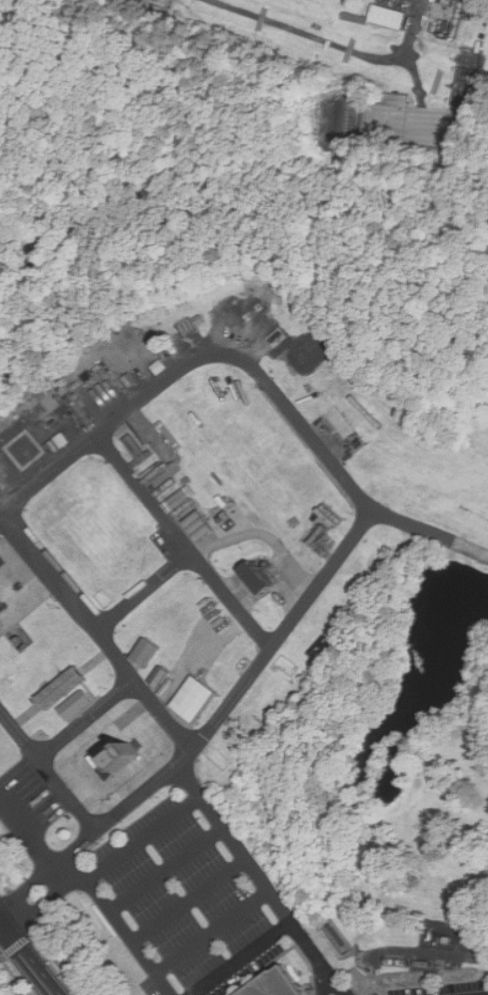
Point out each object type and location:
building: (388, 16)
road: (333, 47)
road: (253, 368)
building: (198, 525)
building: (317, 529)
road: (182, 542)
building: (255, 578)
road: (143, 591)
road: (95, 631)
building: (146, 653)
building: (61, 687)
building: (194, 698)
road: (228, 704)
building: (75, 705)
building: (113, 759)
road: (48, 771)
road: (31, 837)
road: (144, 838)
road: (166, 868)
road: (260, 879)
road: (29, 889)
road: (190, 901)
road: (39, 907)
road: (0, 924)
road: (121, 927)
road: (212, 932)
road: (8, 933)
road: (243, 959)
road: (58, 963)
road: (37, 969)
road: (15, 976)
building: (277, 984)

